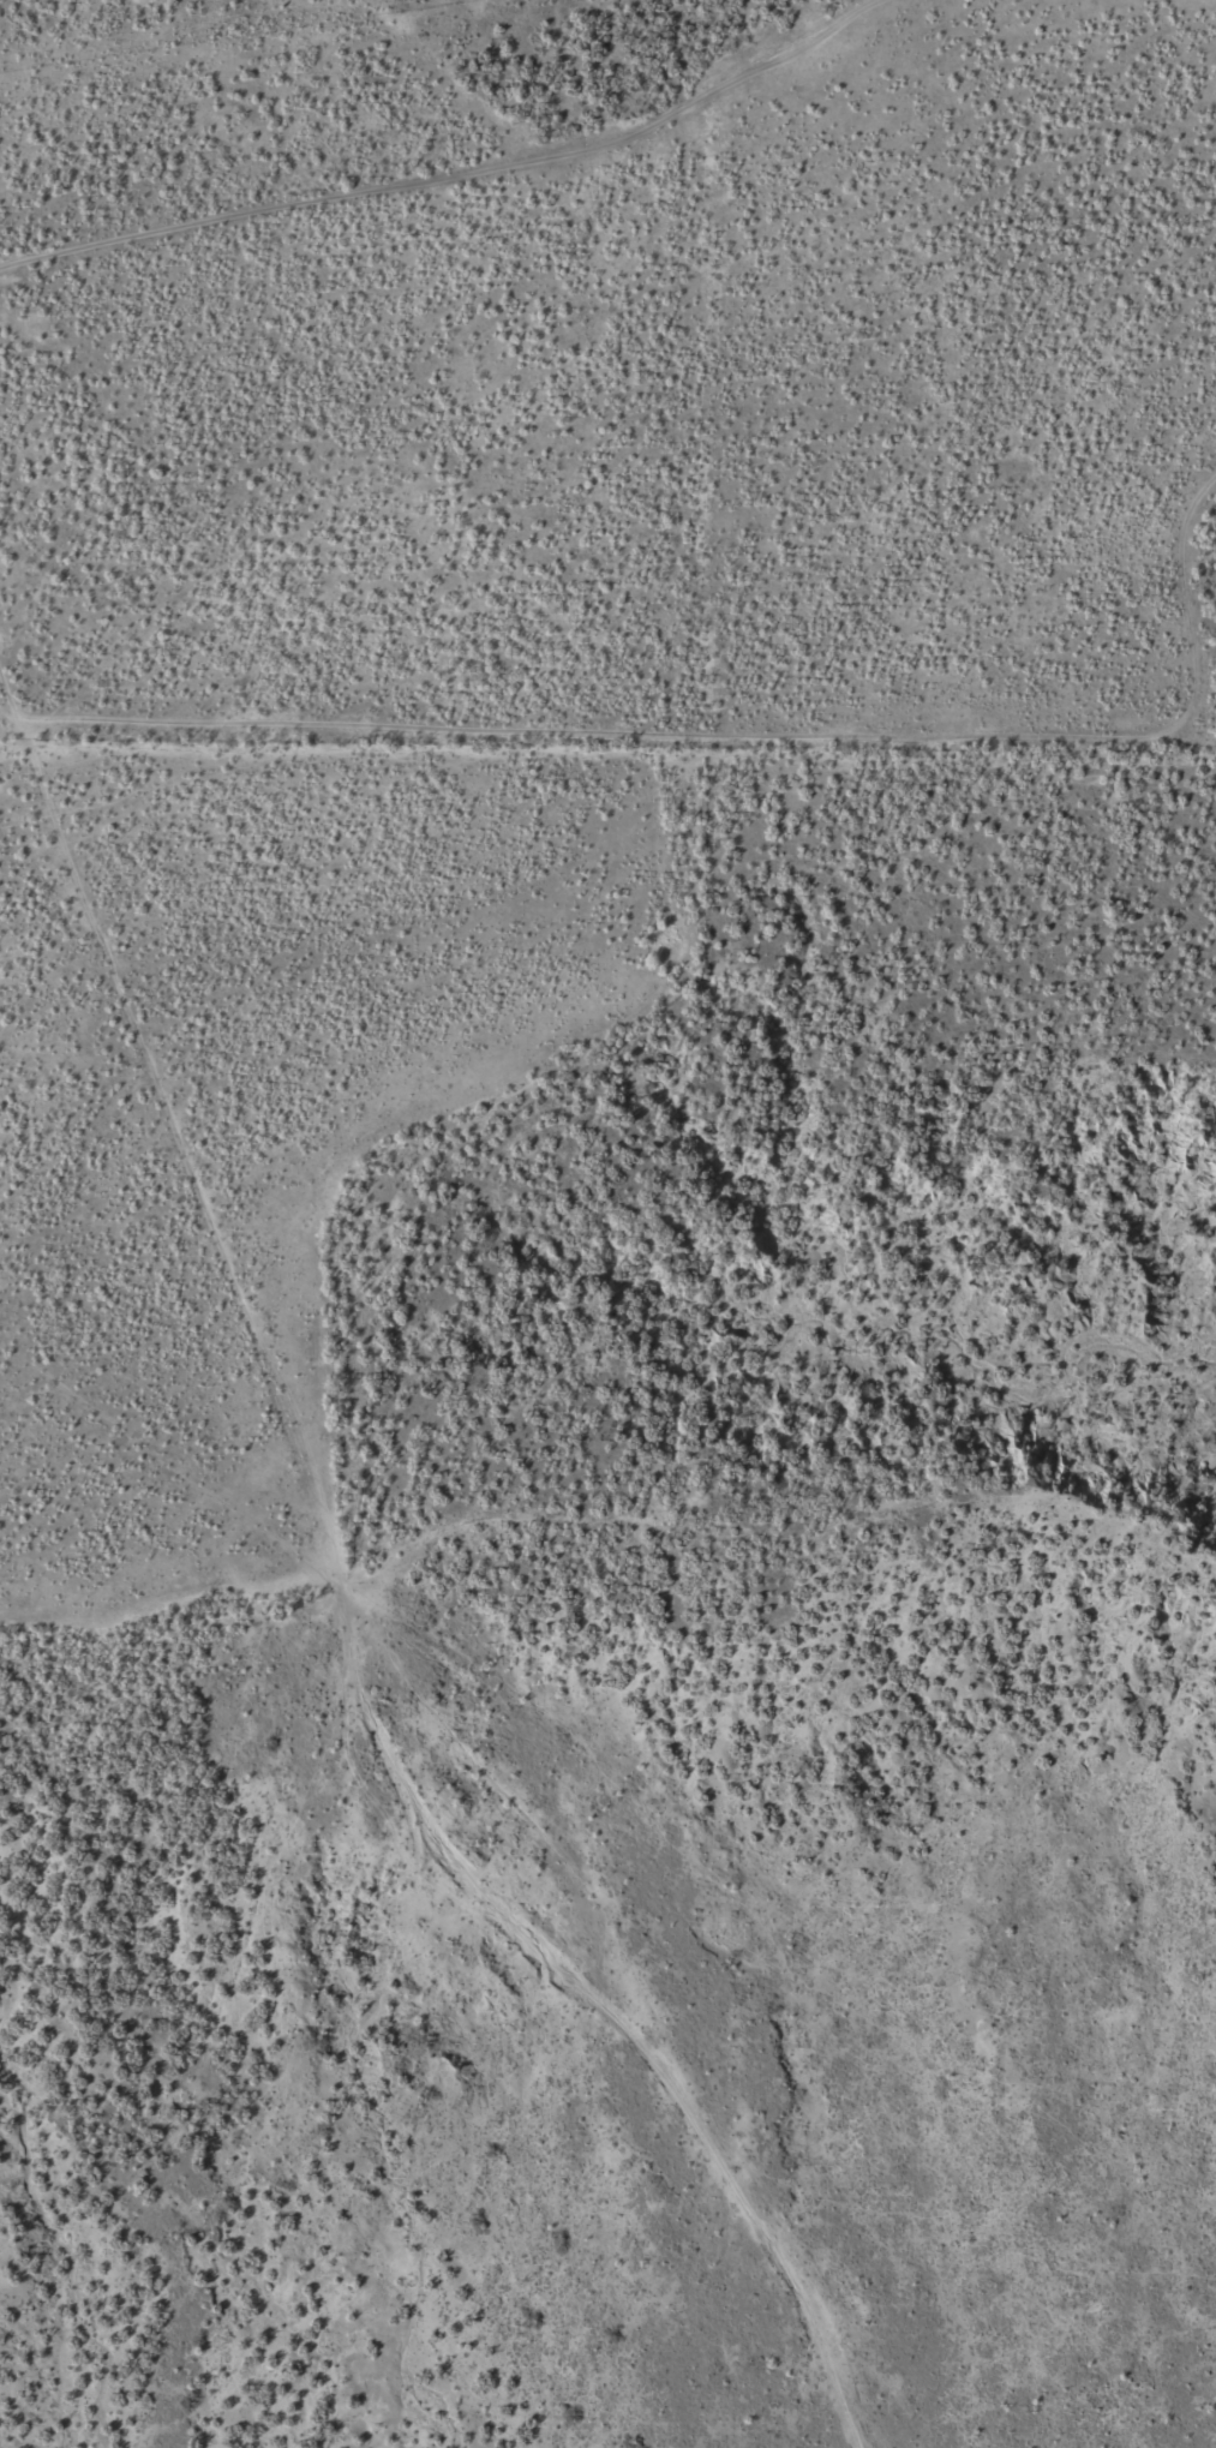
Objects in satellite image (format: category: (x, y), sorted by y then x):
road: (628, 772)

